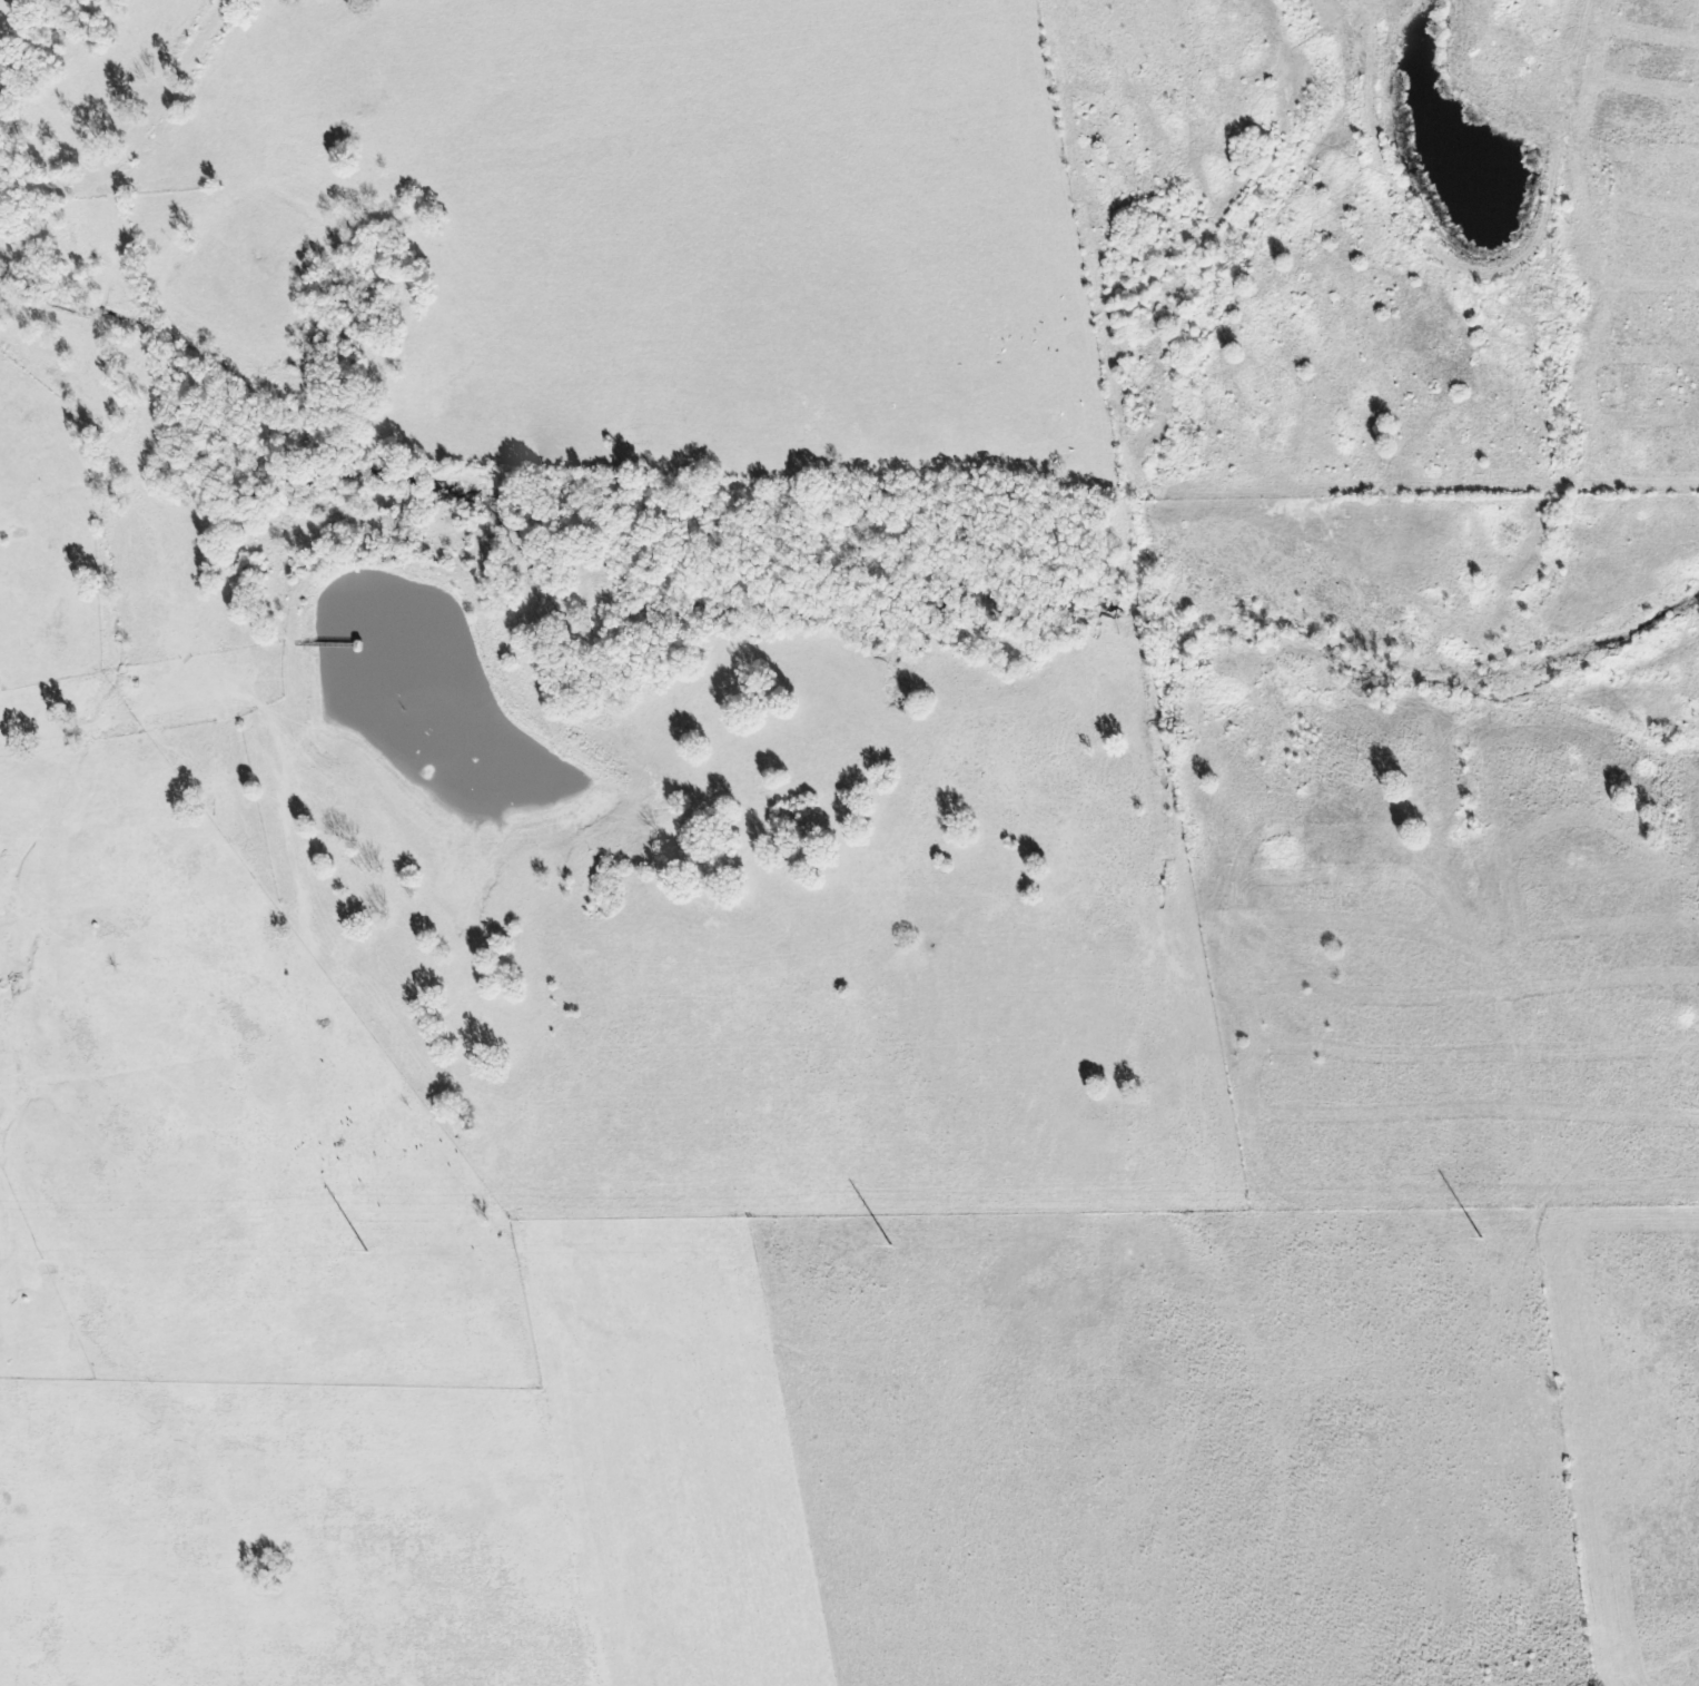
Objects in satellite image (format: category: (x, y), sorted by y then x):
power tower: (1488, 1239)
power tower: (895, 1246)
power tower: (371, 1253)

